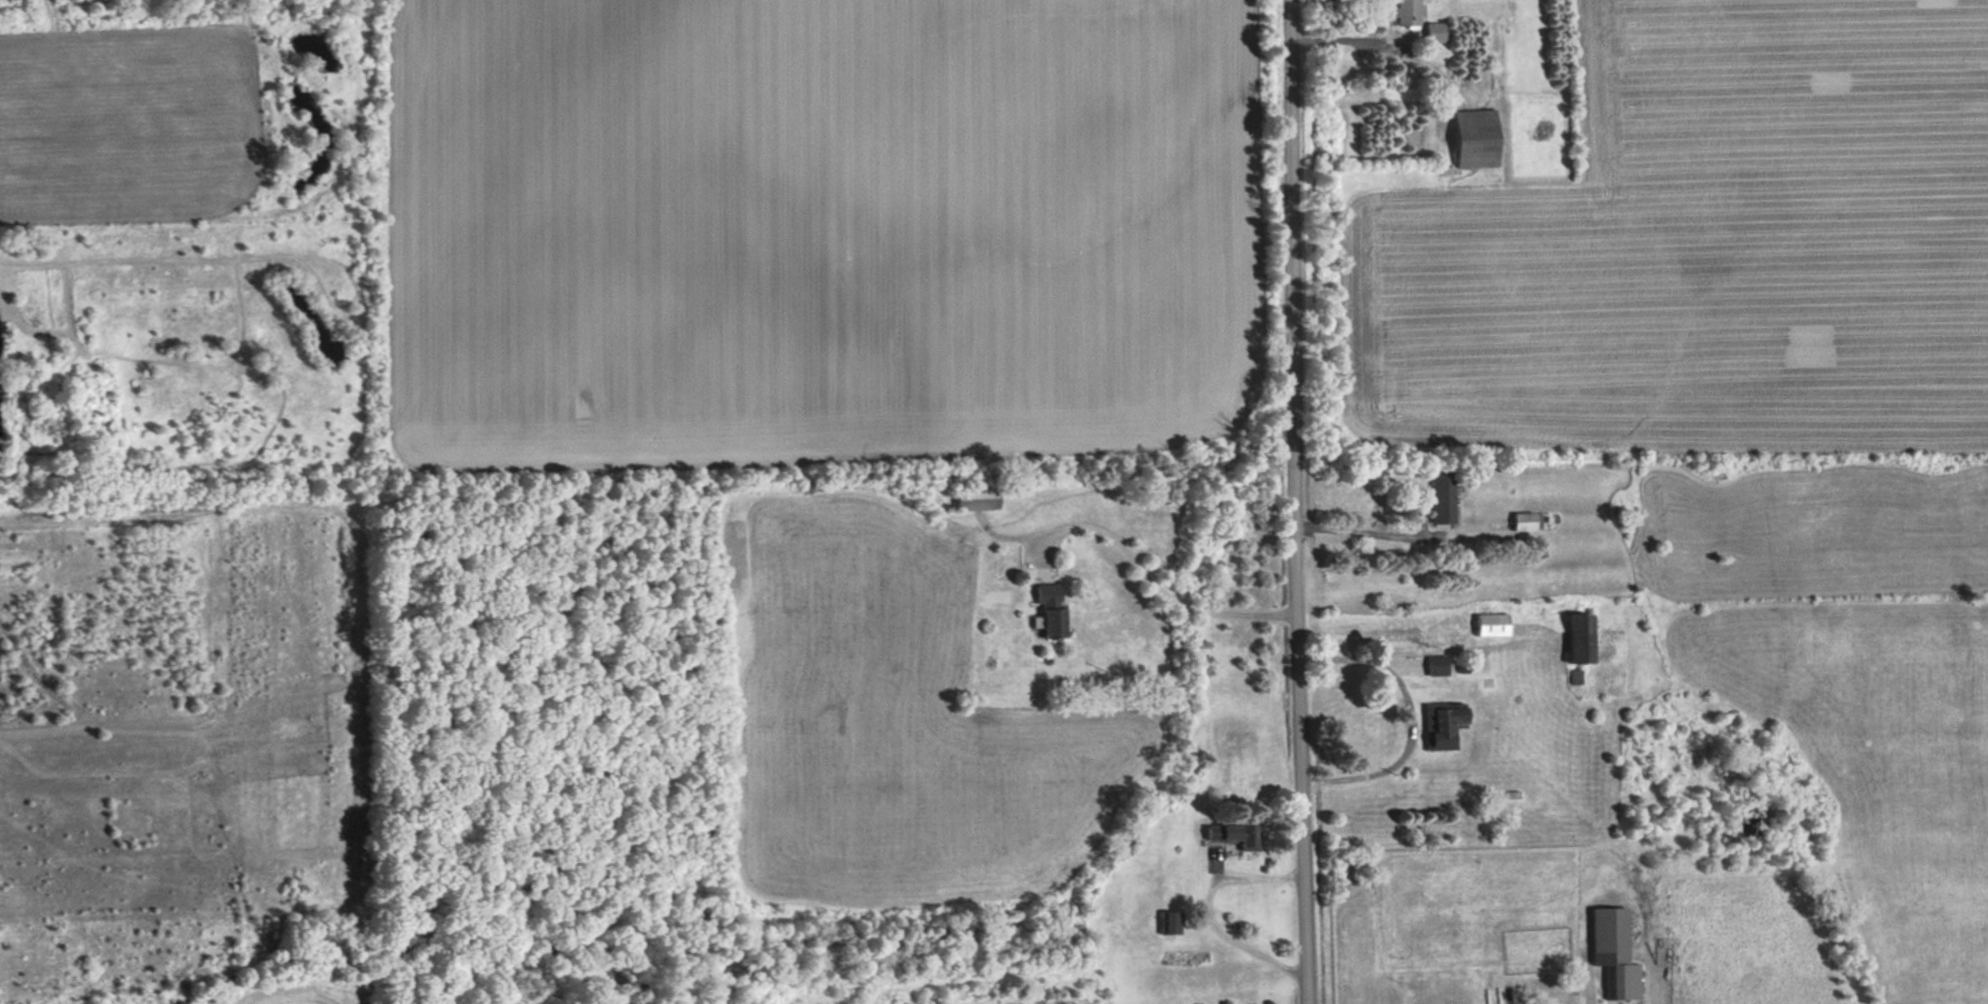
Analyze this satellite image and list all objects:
building: (1407, 12)
building: (1434, 33)
road: (1342, 38)
building: (1475, 138)
building: (1441, 496)
building: (976, 499)
road: (1292, 502)
building: (1527, 521)
road: (1365, 532)
road: (1151, 584)
building: (1050, 610)
building: (1491, 624)
building: (1579, 638)
building: (1436, 665)
road: (1406, 719)
building: (1445, 724)
building: (1234, 835)
road: (1207, 912)
building: (1170, 923)
building: (1614, 951)

